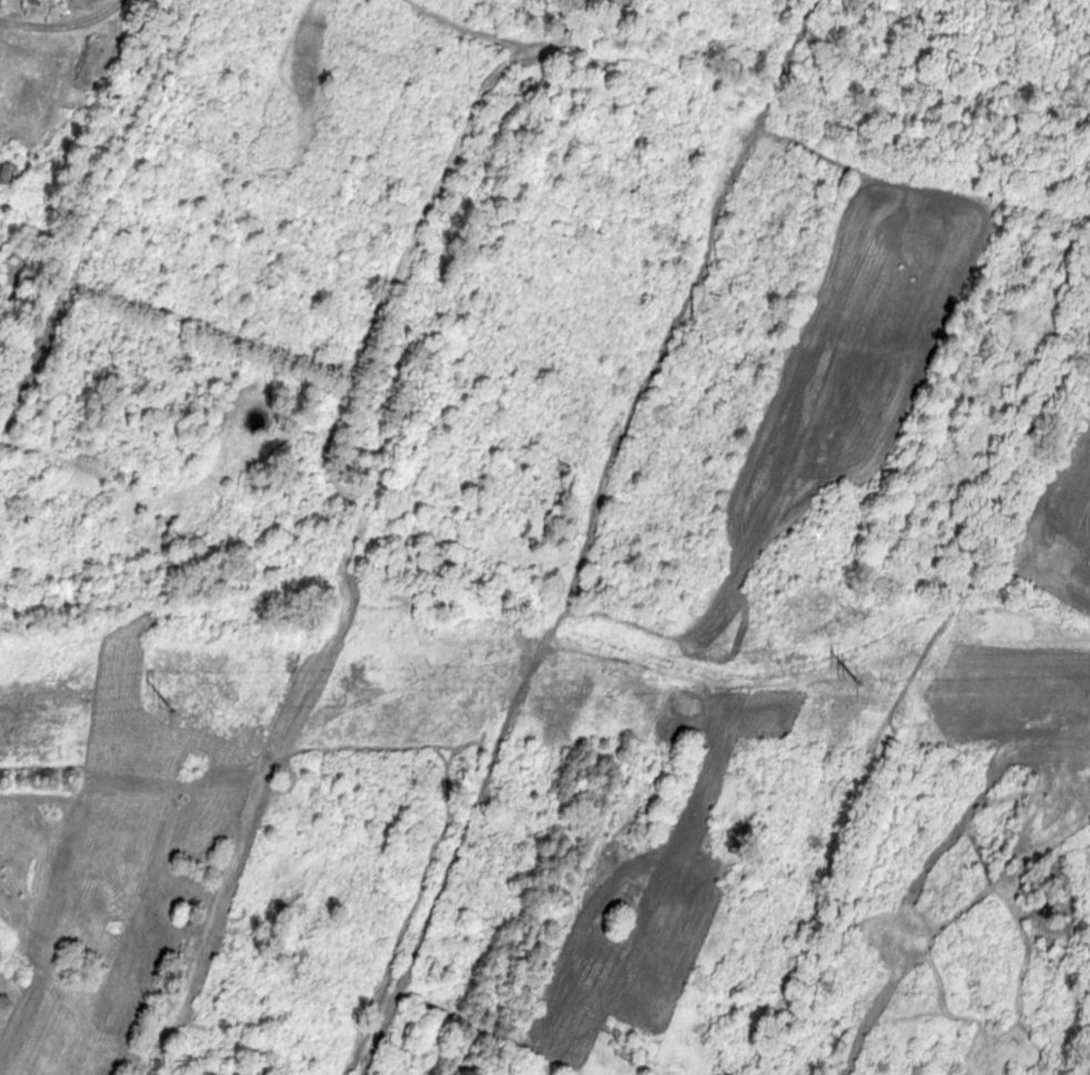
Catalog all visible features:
road: (68, 37)
building: (3, 173)
crop: (1071, 520)
power tower: (836, 691)
power tower: (157, 716)
building: (610, 1035)

